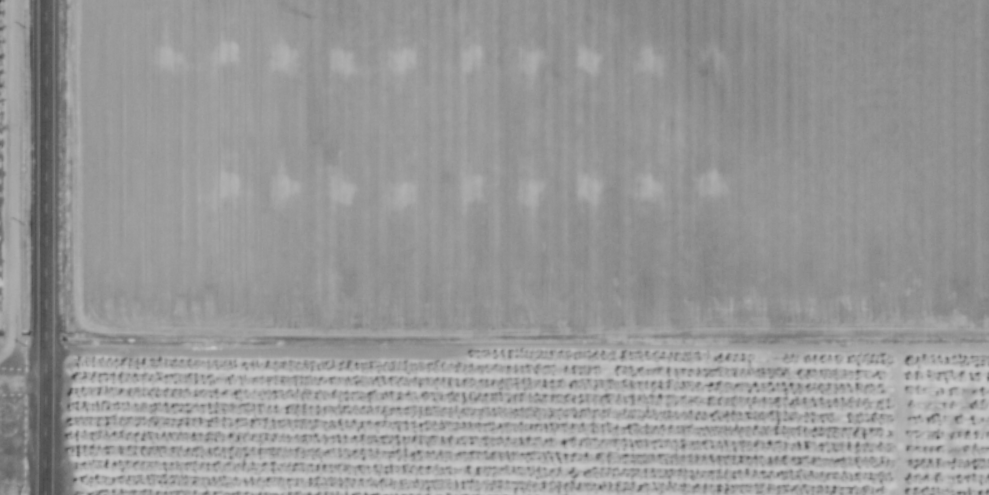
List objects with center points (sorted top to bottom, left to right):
road: (47, 247)
road: (23, 382)

